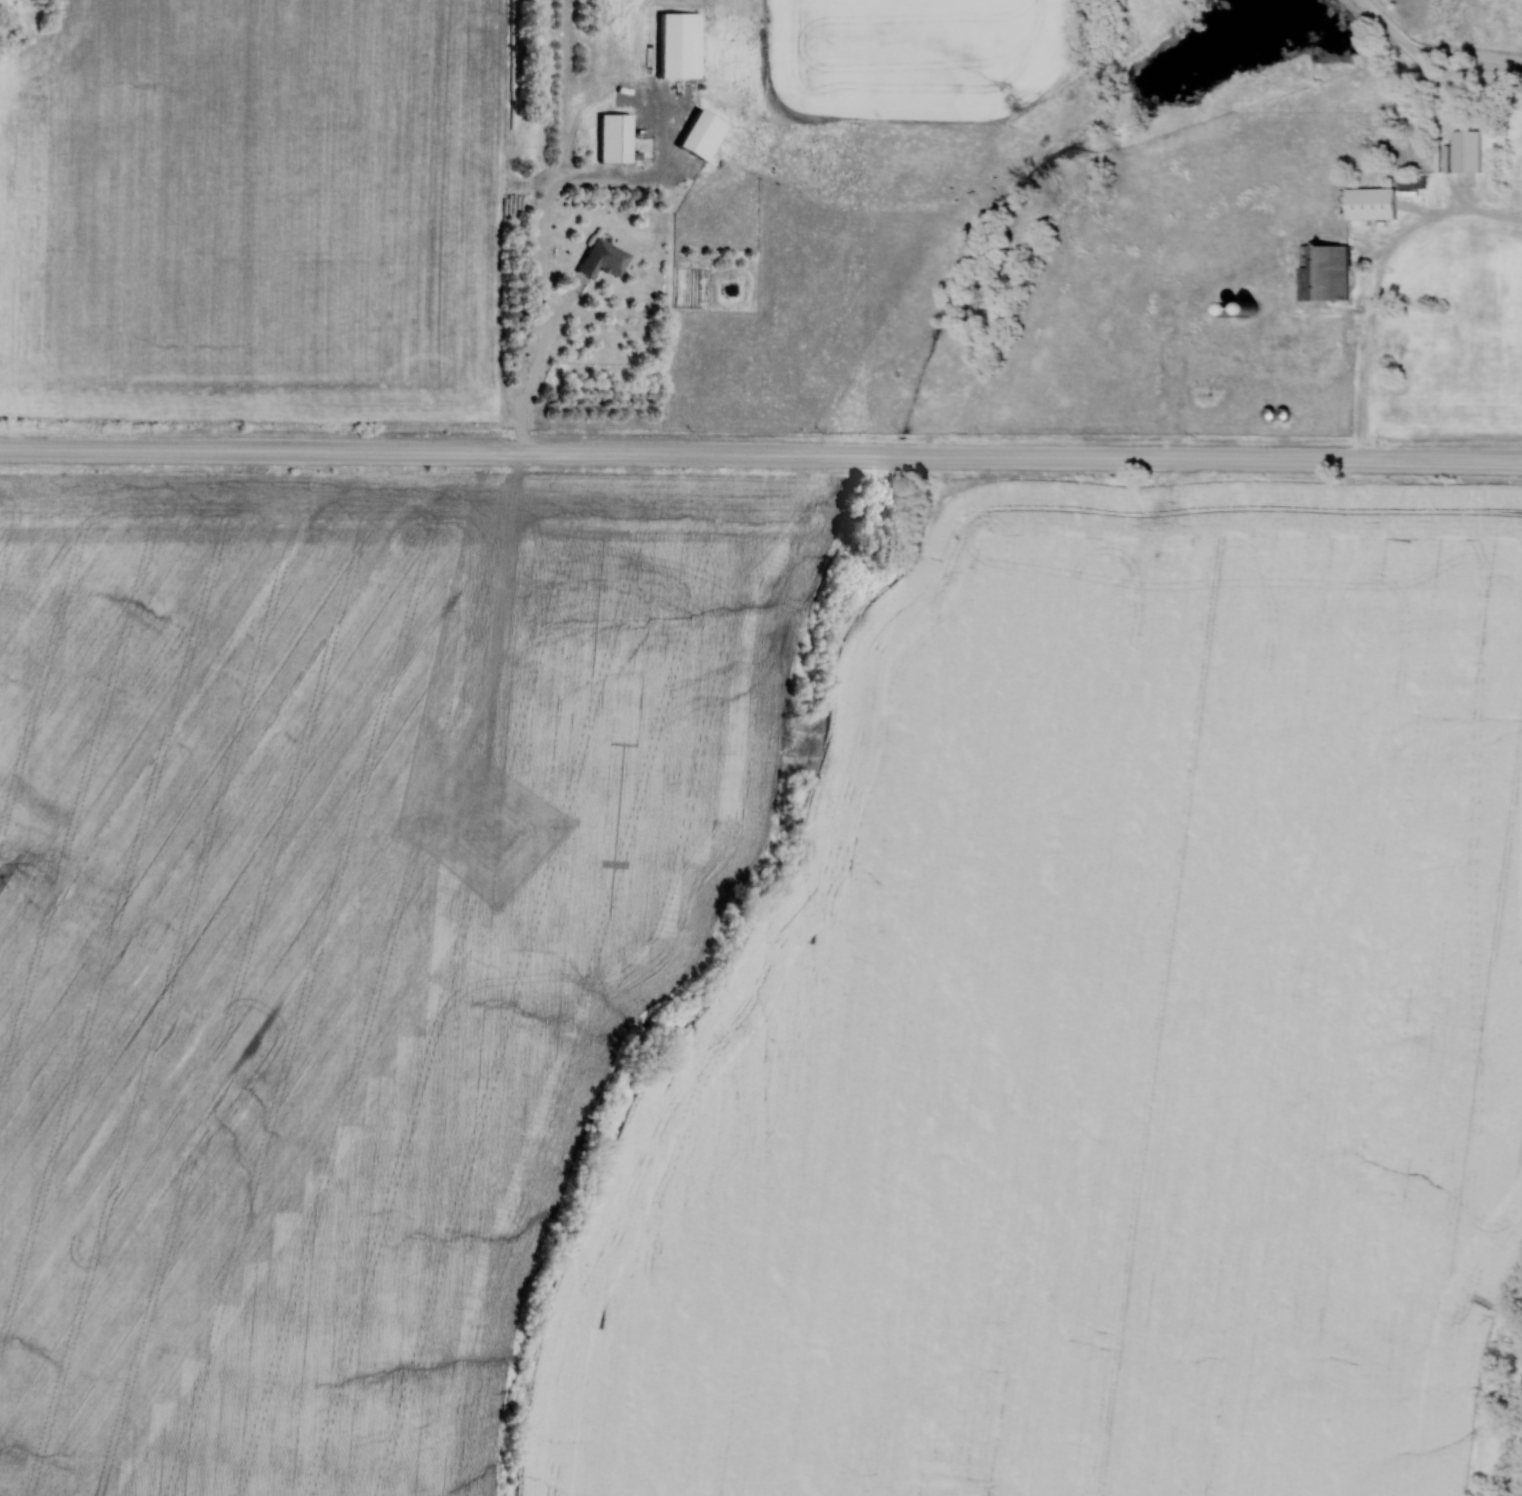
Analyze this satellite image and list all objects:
road: (1443, 120)
building: (697, 136)
building: (610, 139)
building: (1464, 151)
building: (1368, 203)
road: (542, 230)
building: (599, 259)
building: (1320, 275)
road: (1371, 307)
building: (1242, 311)
road: (761, 454)

